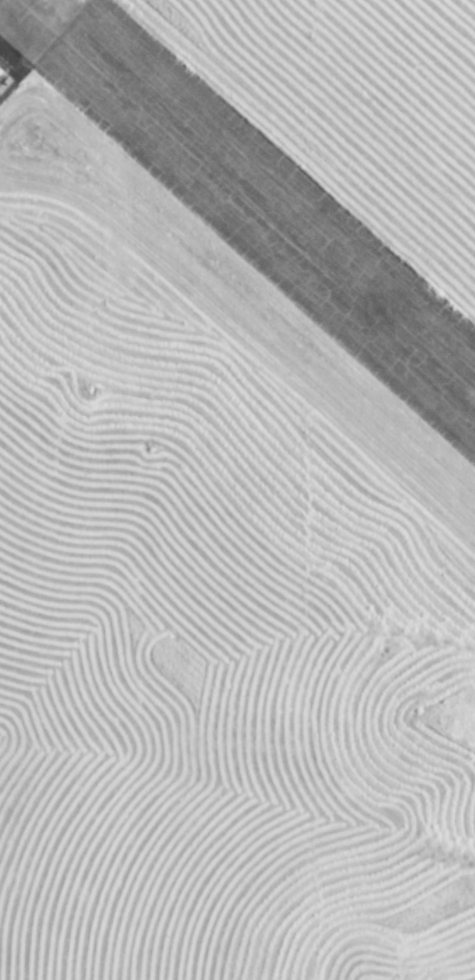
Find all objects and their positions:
building: (0, 68)
crop: (350, 112)
road: (242, 205)
airport: (237, 490)
crop: (213, 606)

